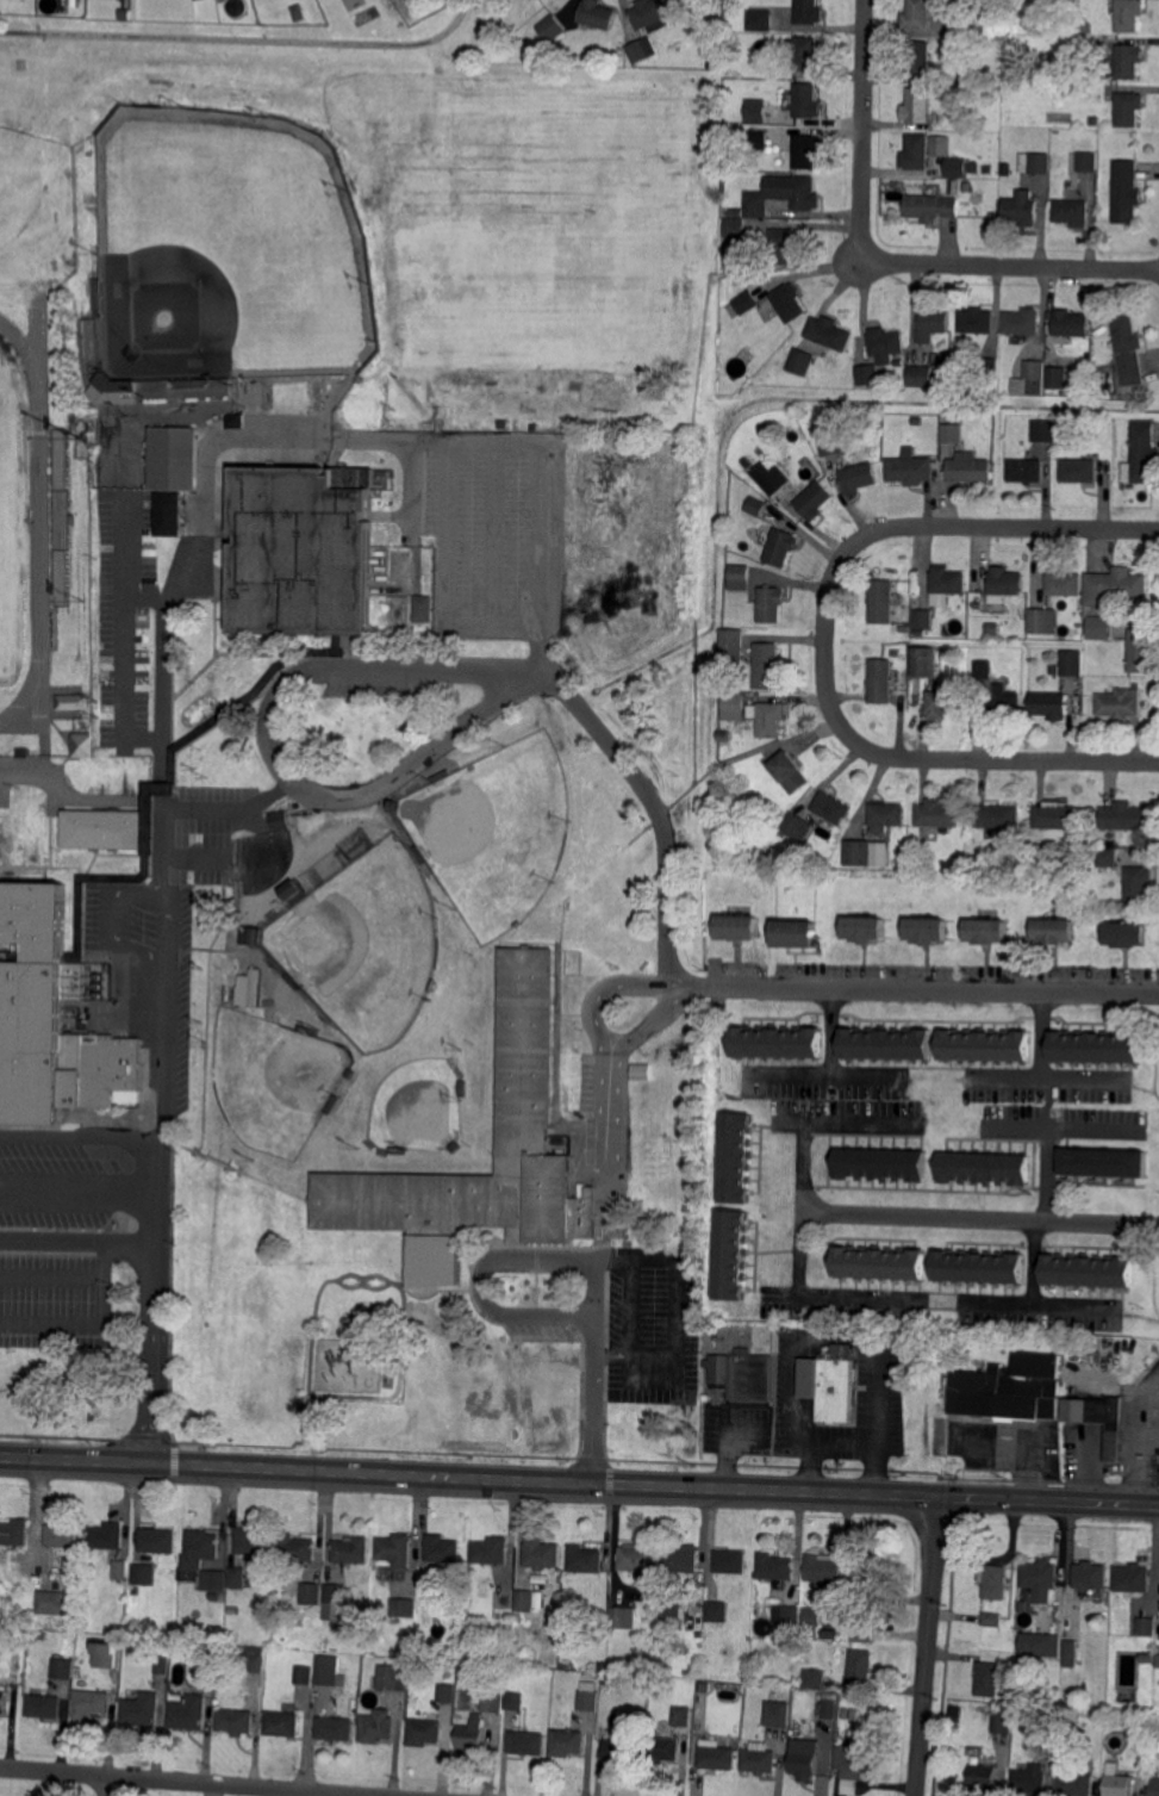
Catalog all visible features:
building: (492, 10)
building: (649, 12)
building: (809, 12)
building: (299, 13)
building: (126, 14)
building: (597, 14)
building: (917, 15)
building: (1127, 15)
building: (760, 19)
building: (552, 27)
building: (960, 29)
building: (1083, 29)
building: (642, 49)
building: (805, 52)
building: (917, 58)
building: (1127, 62)
building: (1051, 75)
building: (967, 76)
building: (806, 100)
building: (915, 107)
building: (1126, 110)
building: (755, 113)
building: (989, 113)
building: (759, 139)
building: (936, 144)
building: (806, 149)
building: (915, 150)
building: (1038, 162)
building: (1085, 162)
building: (954, 168)
building: (1005, 169)
building: (724, 186)
building: (1126, 192)
building: (781, 194)
building: (929, 206)
building: (1022, 209)
building: (736, 211)
building: (1071, 212)
building: (734, 226)
building: (781, 246)
park: (226, 248)
road: (883, 262)
building: (95, 294)
building: (786, 302)
building: (743, 305)
building: (974, 321)
building: (1022, 322)
building: (933, 323)
building: (1068, 324)
building: (830, 333)
building: (887, 340)
building: (1127, 350)
building: (802, 361)
building: (986, 368)
building: (867, 373)
building: (920, 375)
building: (1030, 377)
building: (1057, 378)
building: (112, 390)
building: (917, 420)
building: (235, 422)
building: (487, 428)
building: (951, 428)
building: (1043, 430)
road: (474, 441)
building: (833, 442)
building: (1142, 454)
building: (174, 456)
building: (911, 468)
building: (968, 468)
building: (1024, 468)
building: (1080, 470)
building: (771, 477)
building: (860, 477)
building: (816, 501)
building: (756, 505)
building: (168, 514)
park: (12, 523)
road: (1003, 527)
building: (781, 546)
building: (303, 549)
building: (741, 577)
building: (1033, 579)
building: (946, 580)
building: (1007, 580)
building: (1065, 582)
building: (1114, 583)
road: (167, 602)
building: (884, 602)
building: (1082, 603)
building: (771, 605)
building: (977, 607)
building: (424, 609)
building: (399, 611)
building: (922, 620)
building: (1040, 620)
building: (1101, 627)
building: (991, 628)
road: (827, 641)
building: (734, 645)
building: (1141, 651)
building: (1071, 663)
road: (344, 664)
building: (924, 664)
building: (768, 665)
building: (985, 670)
building: (879, 682)
building: (1136, 684)
building: (73, 702)
building: (1002, 702)
building: (945, 704)
building: (1122, 704)
building: (1051, 706)
building: (735, 707)
building: (771, 720)
building: (724, 738)
building: (82, 746)
building: (23, 752)
road: (161, 756)
road: (1001, 760)
building: (789, 772)
building: (440, 775)
road: (150, 787)
road: (64, 797)
road: (228, 804)
building: (393, 804)
building: (833, 807)
building: (940, 814)
building: (887, 815)
building: (997, 816)
building: (1057, 816)
building: (1127, 818)
building: (280, 821)
building: (798, 826)
building: (105, 828)
park: (493, 831)
building: (1029, 839)
building: (1017, 847)
building: (860, 853)
building: (420, 855)
building: (1109, 858)
building: (1138, 884)
building: (295, 891)
building: (739, 925)
building: (868, 927)
building: (929, 928)
building: (799, 930)
building: (1055, 931)
building: (987, 932)
building: (250, 934)
building: (1127, 934)
park: (363, 943)
building: (293, 981)
road: (616, 984)
building: (249, 988)
road: (930, 990)
building: (51, 1017)
road: (653, 1018)
building: (306, 1028)
building: (778, 1044)
building: (887, 1045)
building: (985, 1046)
building: (1096, 1049)
parking lot: (169, 1057)
building: (642, 1071)
building: (350, 1073)
park: (273, 1079)
building: (461, 1089)
road: (836, 1094)
road: (1051, 1101)
building: (329, 1104)
road: (1046, 1106)
road: (829, 1108)
building: (524, 1121)
road: (80, 1141)
building: (454, 1146)
building: (395, 1150)
building: (736, 1158)
building: (1103, 1162)
building: (881, 1166)
building: (985, 1169)
road: (80, 1193)
road: (977, 1218)
road: (79, 1236)
building: (731, 1255)
building: (880, 1264)
road: (596, 1268)
building: (978, 1268)
road: (674, 1269)
building: (1088, 1272)
road: (476, 1279)
road: (809, 1298)
road: (1029, 1299)
road: (995, 1306)
road: (93, 1322)
road: (634, 1351)
building: (753, 1380)
building: (839, 1384)
building: (1009, 1391)
building: (1097, 1417)
building: (206, 1437)
road: (96, 1459)
road: (380, 1472)
road: (730, 1489)
road: (910, 1497)
road: (1043, 1499)
road: (37, 1520)
building: (14, 1531)
building: (62, 1535)
building: (107, 1535)
building: (157, 1540)
building: (254, 1541)
building: (200, 1548)
building: (297, 1548)
building: (350, 1549)
building: (442, 1549)
building: (394, 1550)
building: (490, 1550)
building: (541, 1554)
building: (637, 1558)
building: (681, 1559)
building: (584, 1560)
building: (730, 1561)
building: (775, 1567)
building: (119, 1568)
building: (823, 1568)
building: (144, 1574)
building: (868, 1576)
building: (1090, 1576)
building: (235, 1578)
building: (1133, 1578)
building: (1041, 1579)
building: (213, 1581)
building: (995, 1583)
building: (335, 1593)
building: (310, 1595)
building: (213, 1596)
building: (504, 1601)
building: (524, 1601)
building: (51, 1602)
building: (404, 1607)
building: (671, 1609)
building: (717, 1611)
building: (786, 1616)
building: (622, 1617)
building: (811, 1617)
building: (990, 1620)
building: (1147, 1628)
building: (864, 1632)
building: (808, 1633)
building: (1041, 1643)
road: (928, 1646)
building: (1071, 1648)
building: (108, 1654)
building: (207, 1657)
building: (1147, 1657)
building: (1157, 1661)
building: (1018, 1663)
building: (162, 1664)
building: (254, 1664)
building: (861, 1666)
building: (602, 1667)
building: (61, 1670)
building: (328, 1670)
building: (303, 1676)
building: (392, 1678)
building: (814, 1679)
building: (986, 1679)
building: (444, 1694)
building: (515, 1701)
building: (2, 1702)
building: (587, 1702)
building: (92, 1703)
building: (492, 1703)
building: (44, 1705)
building: (829, 1707)
building: (142, 1709)
building: (188, 1713)
building: (775, 1713)
building: (449, 1714)
building: (843, 1714)
building: (852, 1714)
building: (683, 1716)
building: (235, 1721)
building: (1001, 1721)
building: (282, 1723)
building: (375, 1727)
building: (336, 1728)
building: (795, 1729)
building: (424, 1732)
building: (473, 1735)
building: (1157, 1740)
building: (1142, 1741)
building: (526, 1742)
building: (567, 1742)
building: (1049, 1745)
building: (623, 1751)
building: (663, 1751)
building: (718, 1758)
building: (759, 1759)
building: (804, 1759)
building: (849, 1767)
building: (983, 1777)
building: (1029, 1781)
road: (180, 1782)
building: (1076, 1784)
building: (1117, 1784)
road: (110, 1786)
building: (1155, 1786)

